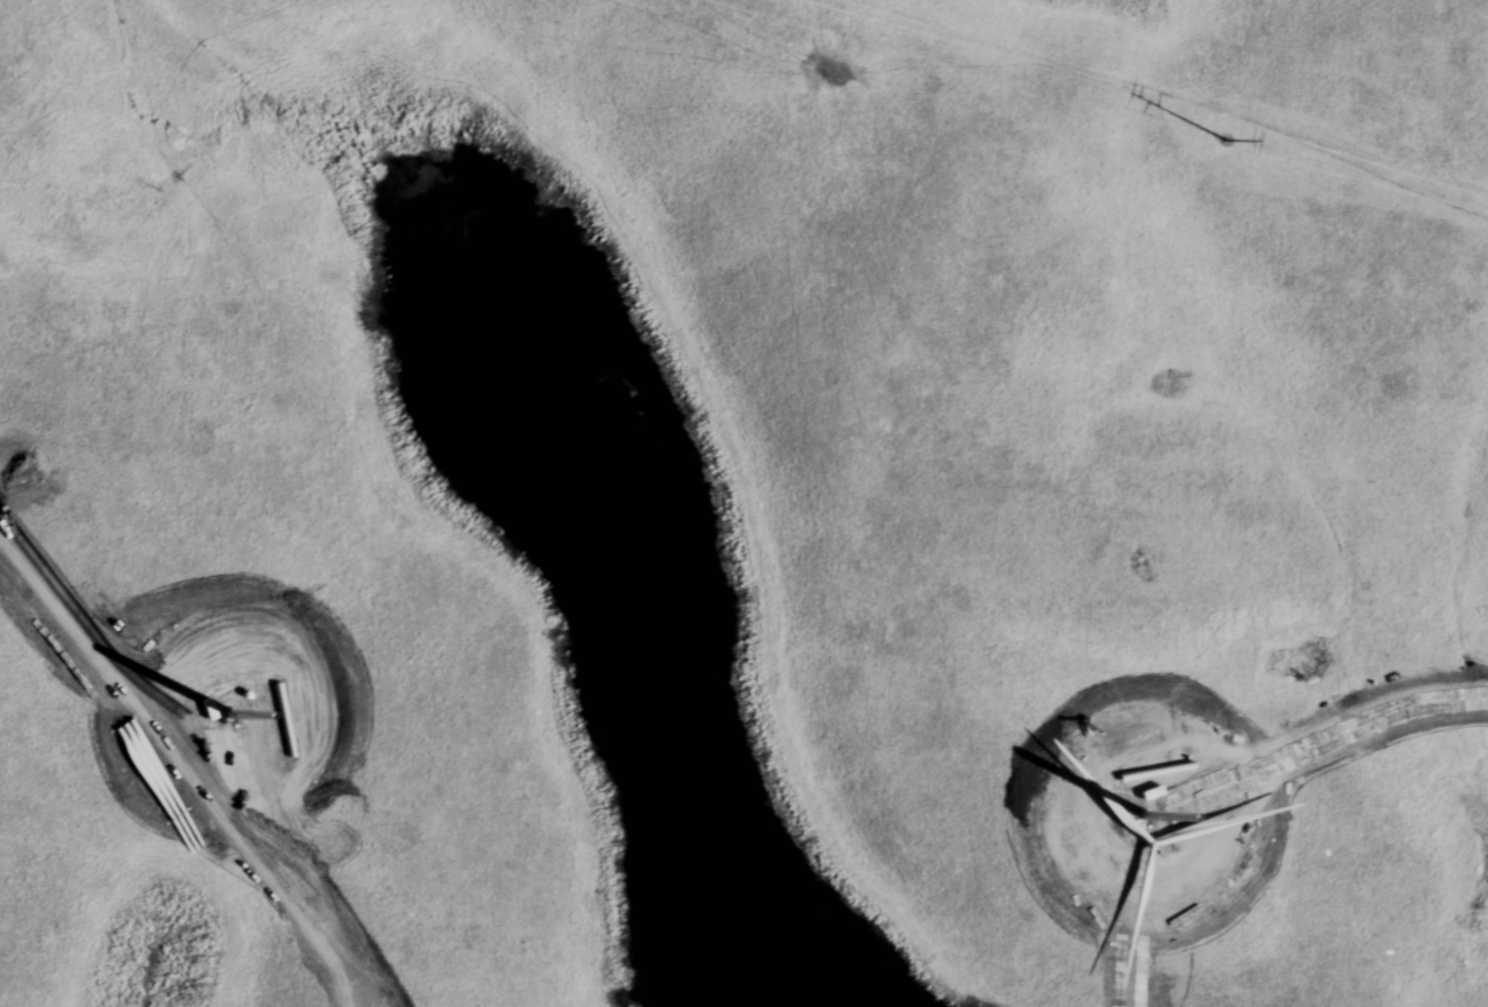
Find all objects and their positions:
power tower: (1228, 136)
wind turbine: (229, 722)
wind turbine: (1144, 834)

